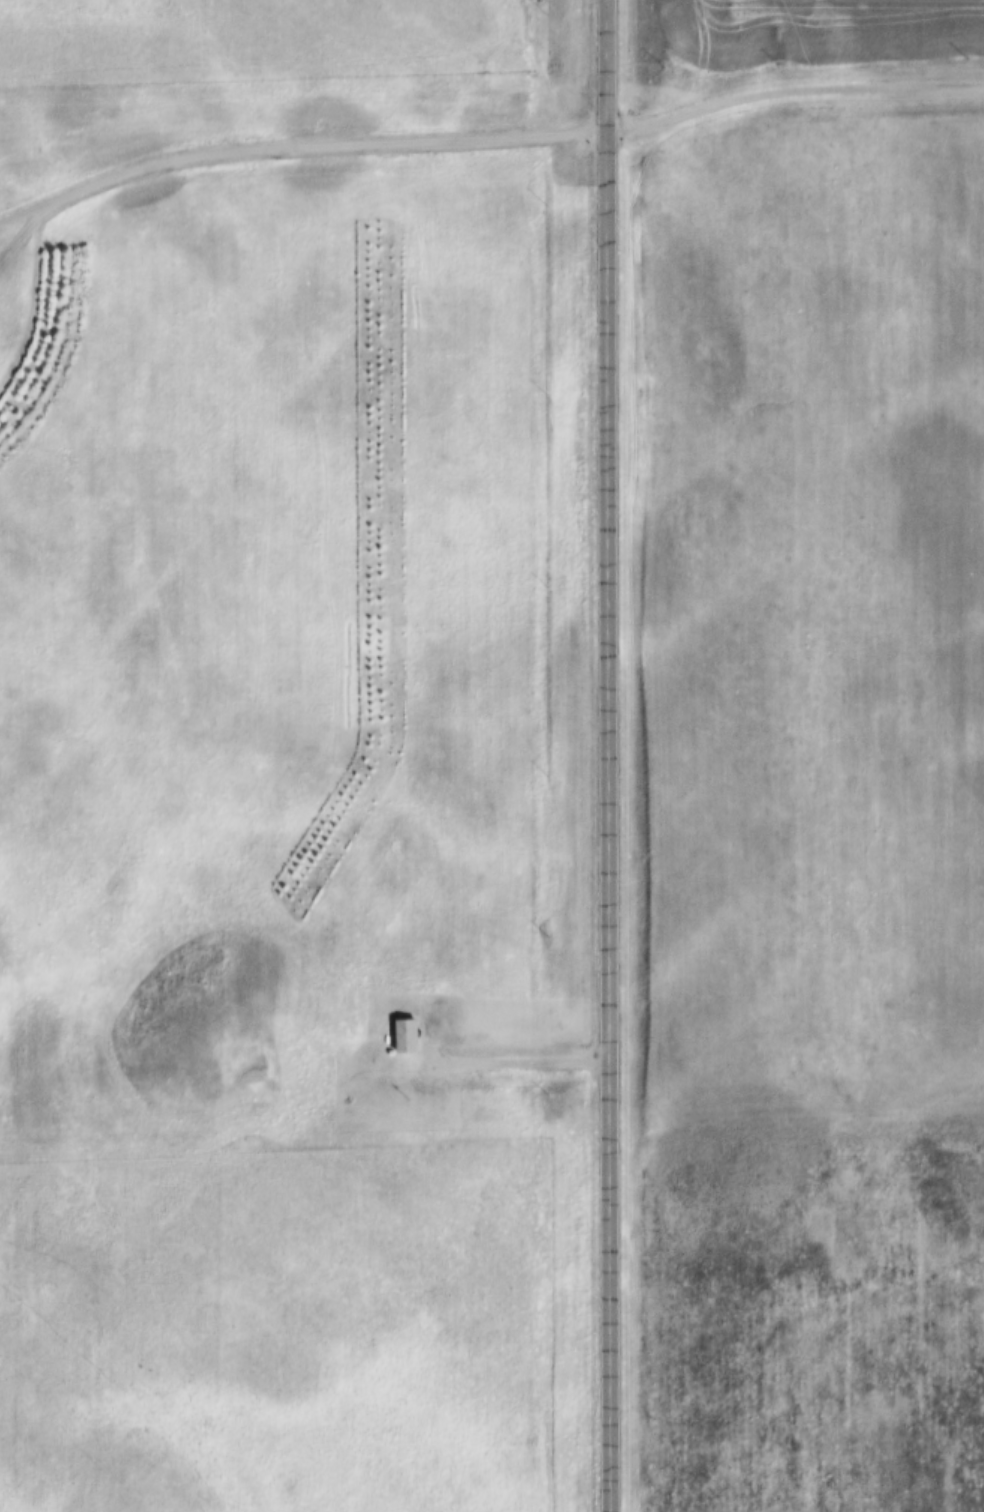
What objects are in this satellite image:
road: (300, 146)
road: (612, 756)
building: (408, 1043)
road: (520, 1059)

